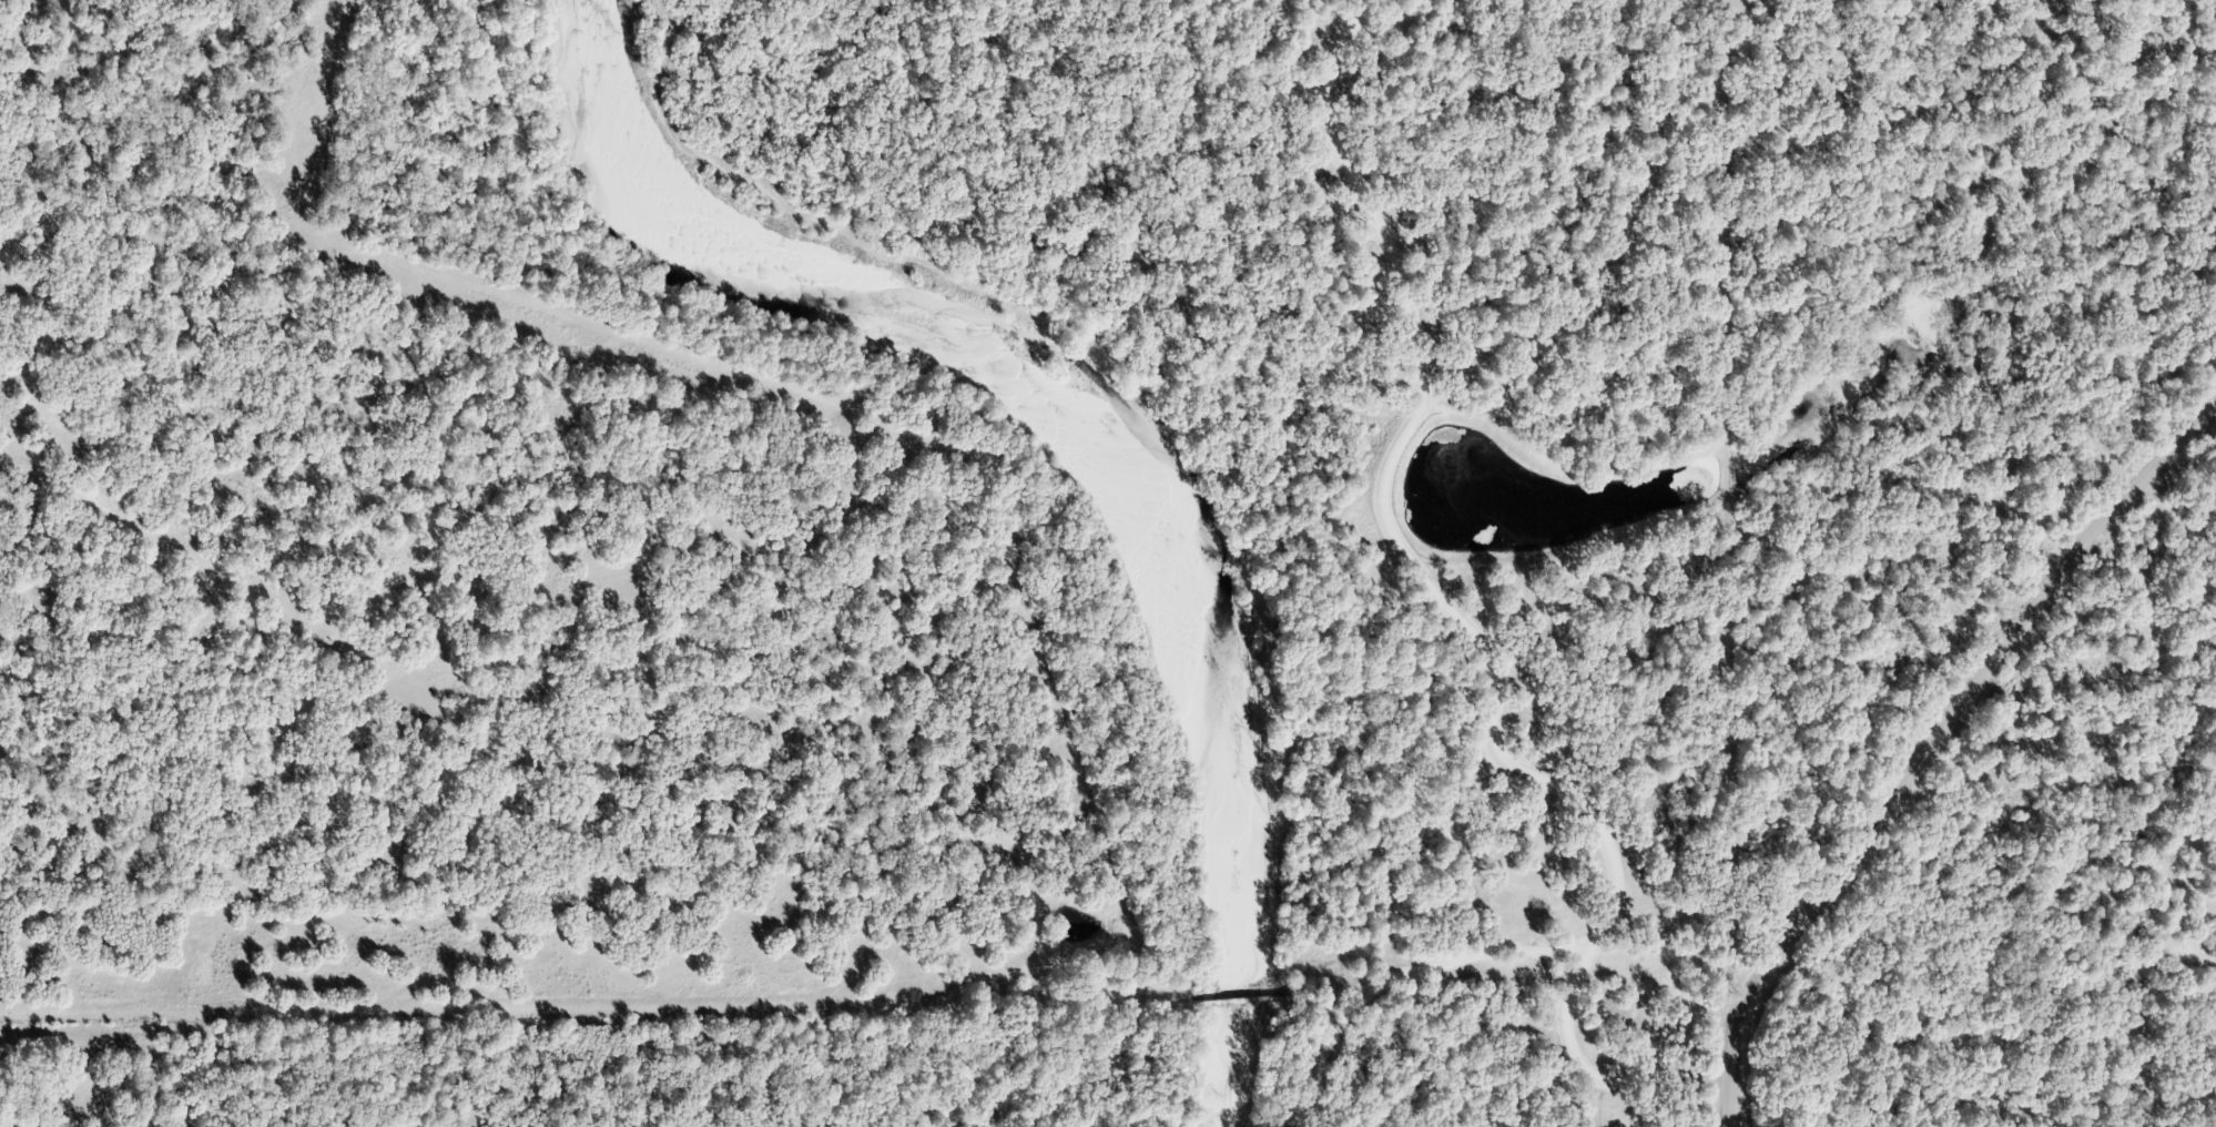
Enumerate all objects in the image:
road: (1930, 744)

